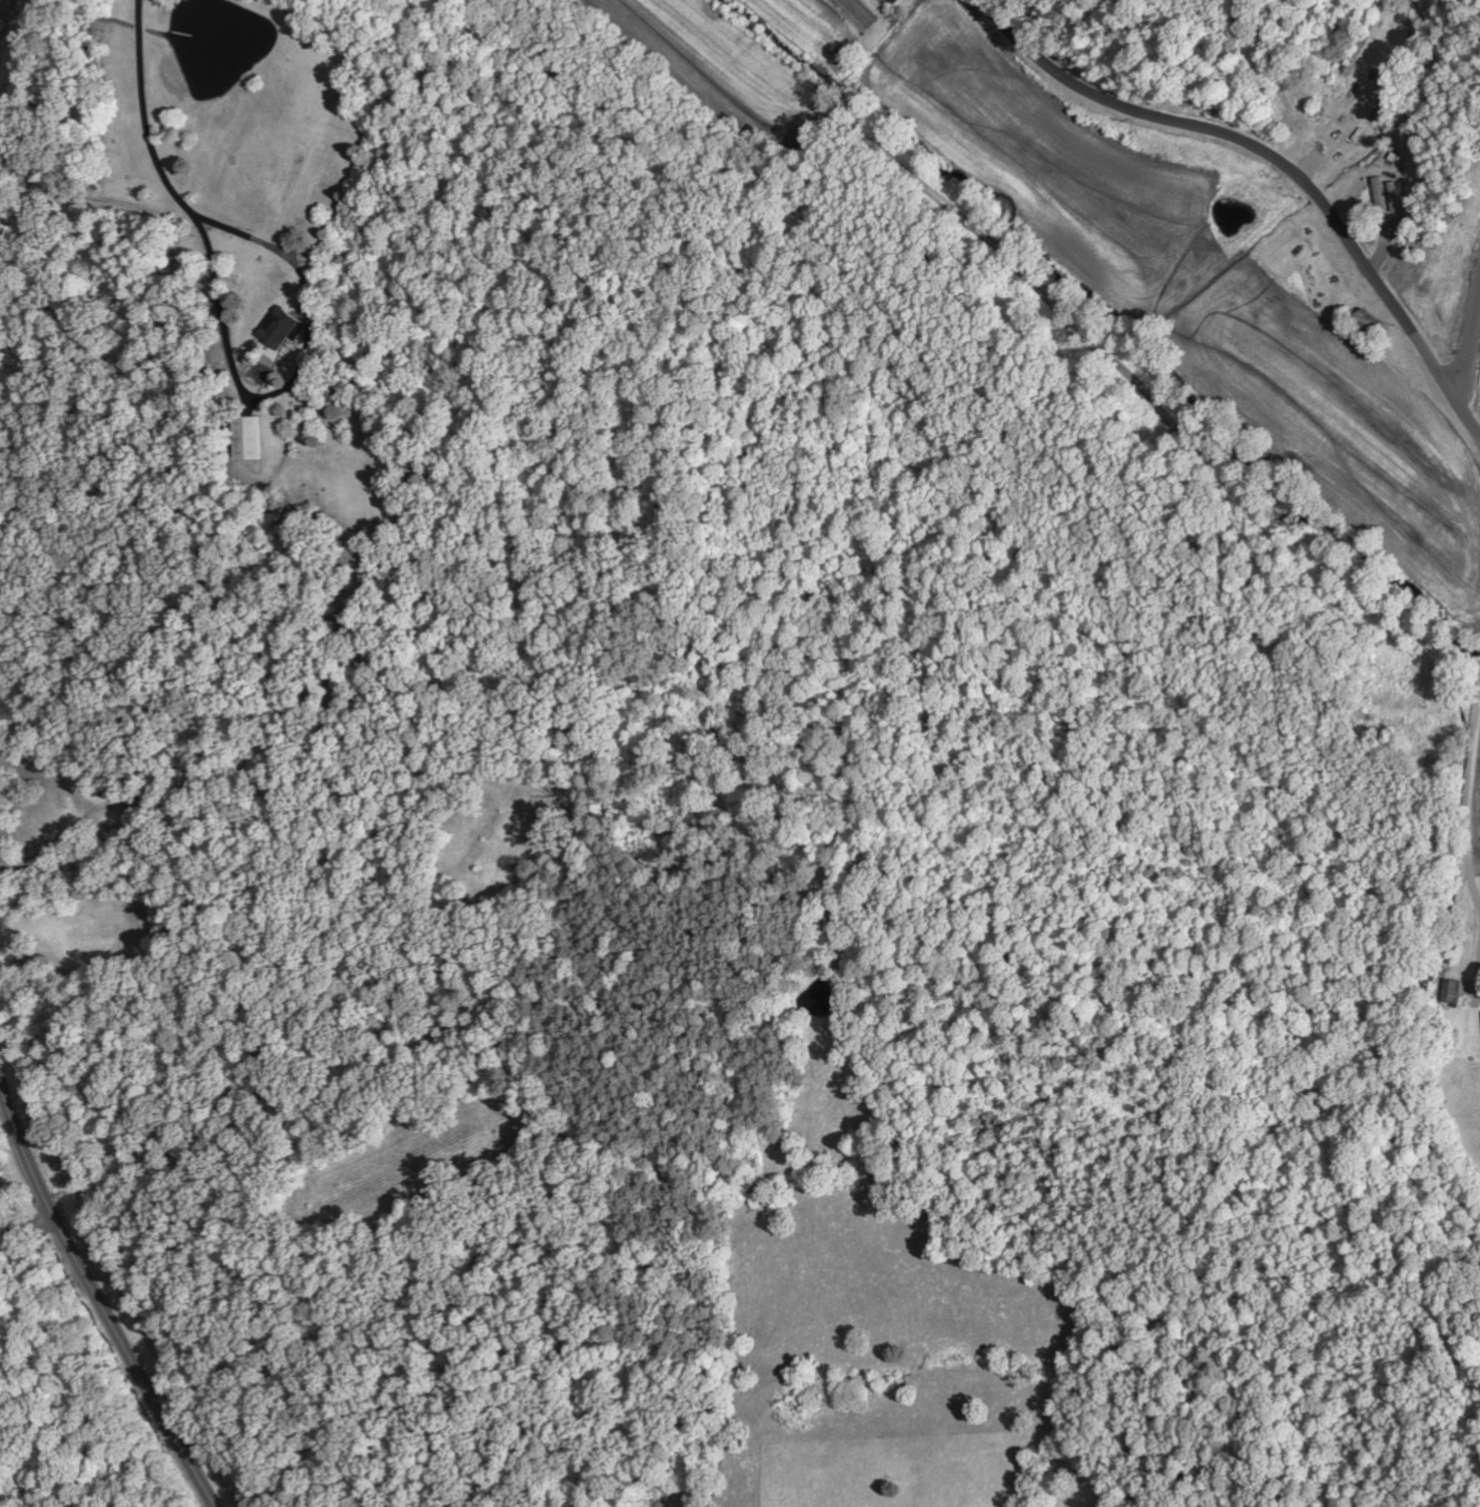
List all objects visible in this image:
building: (892, 1)
road: (5, 14)
road: (1272, 162)
building: (282, 327)
road: (1473, 344)
building: (247, 438)
road: (1477, 440)
road: (1468, 834)
road: (253, 971)
road: (27, 1224)
road: (98, 1301)

